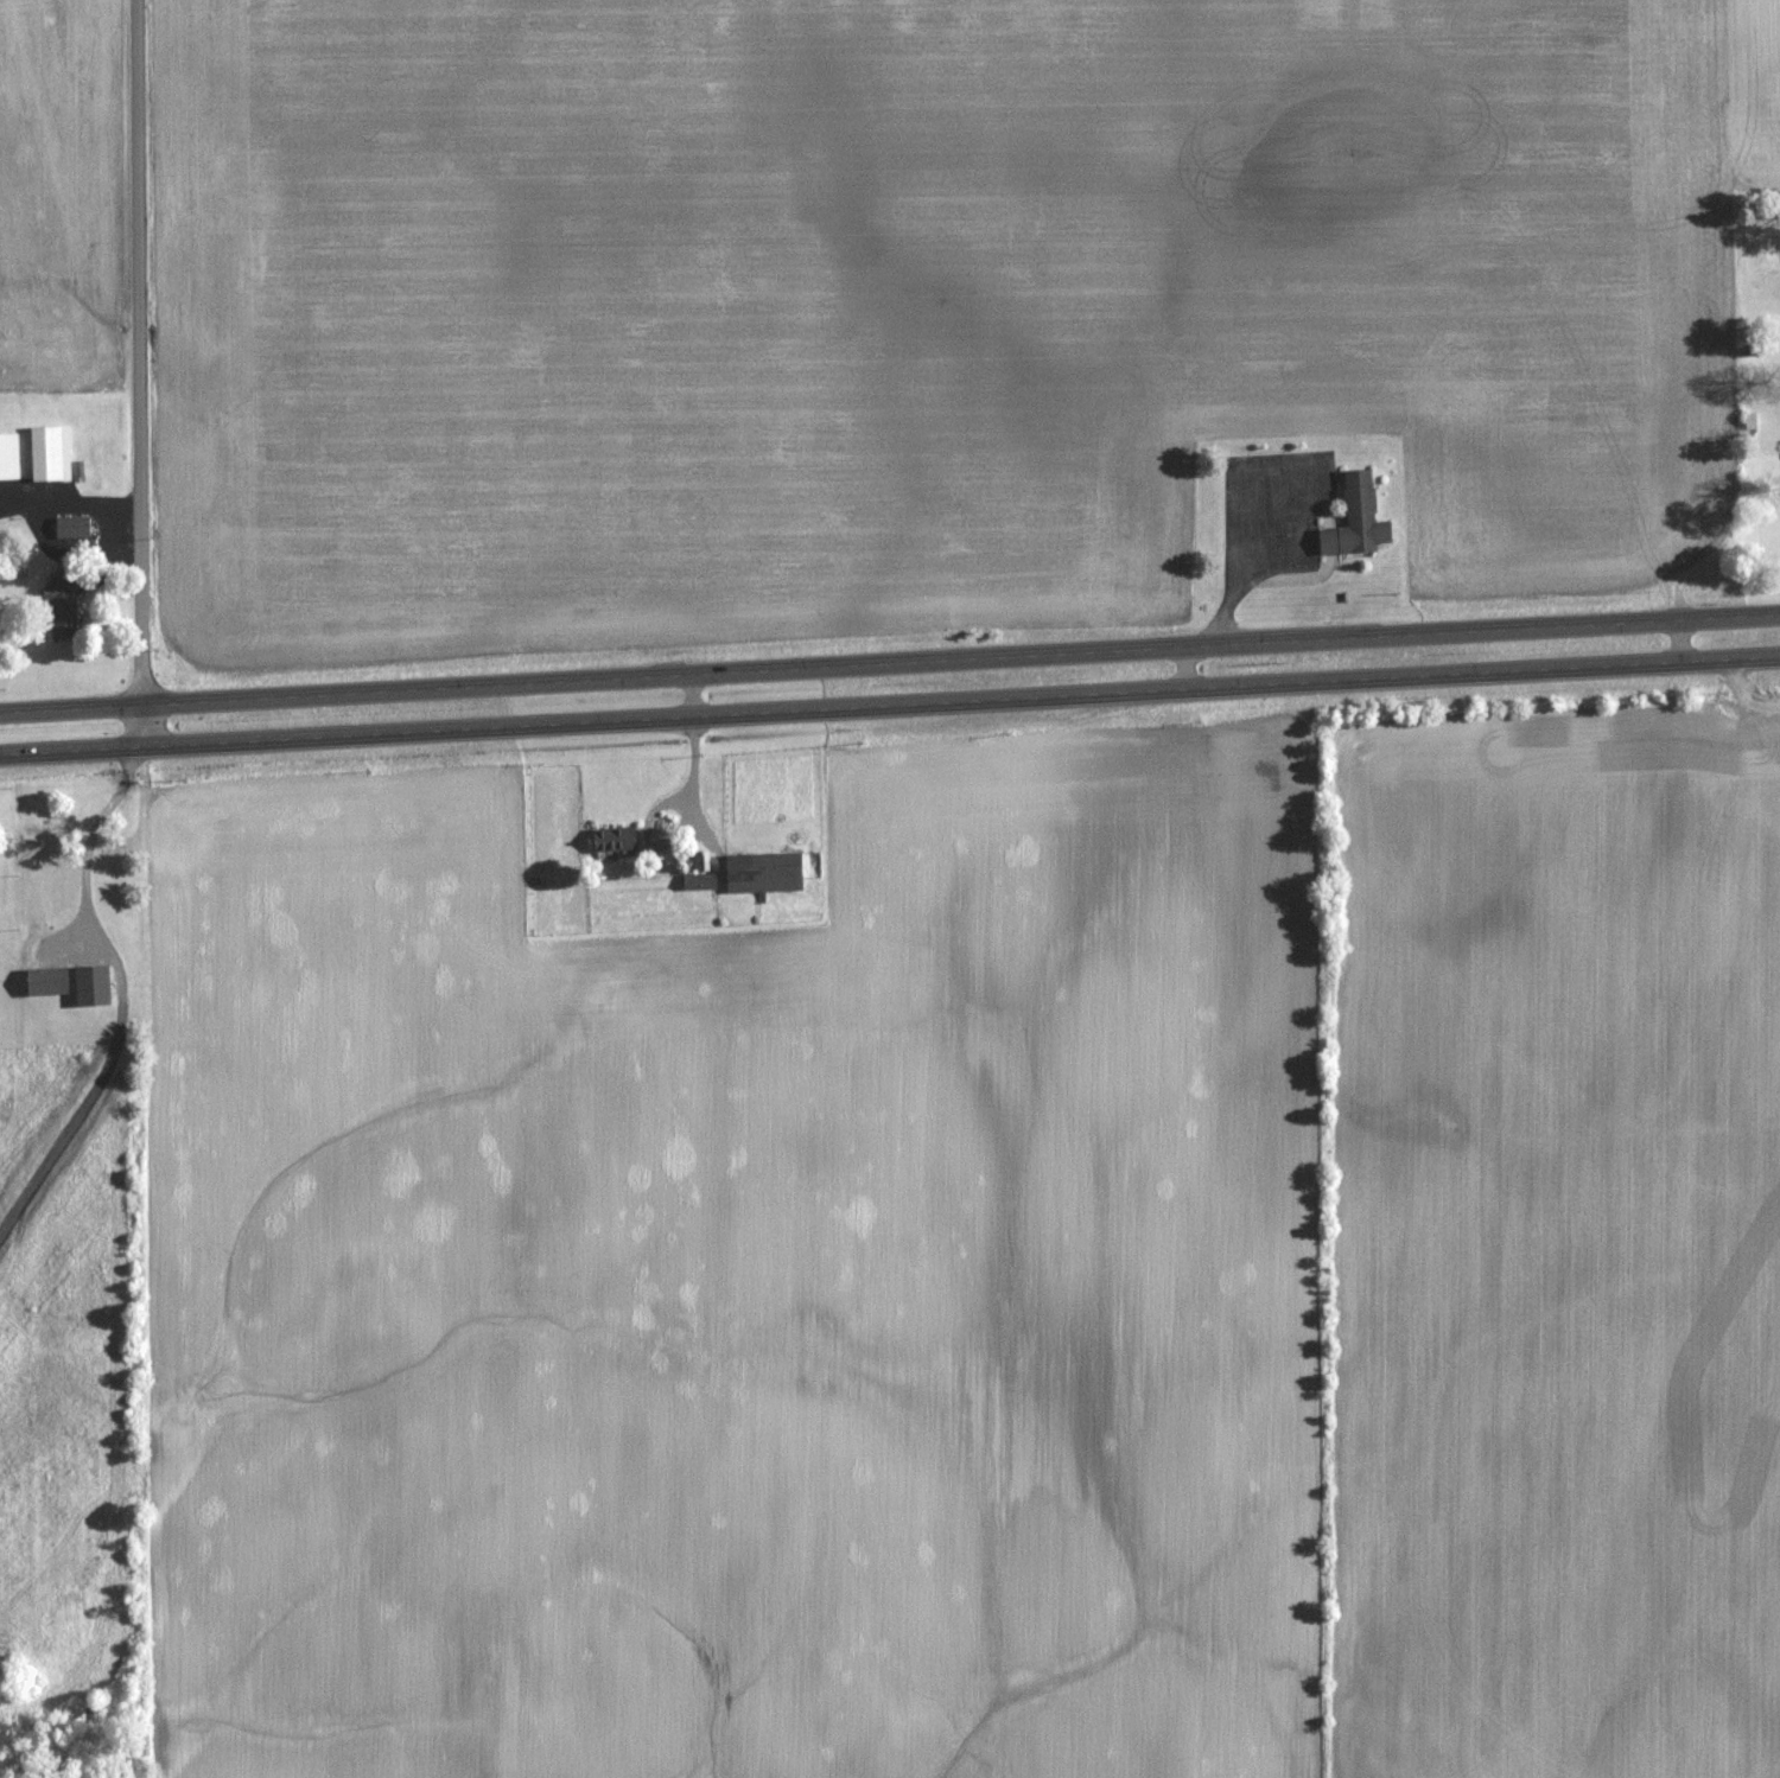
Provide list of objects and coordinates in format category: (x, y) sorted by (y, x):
road: (139, 353)
building: (53, 454)
building: (11, 458)
building: (1361, 520)
building: (76, 528)
building: (68, 608)
road: (1680, 643)
road: (889, 664)
road: (1185, 670)
road: (694, 696)
road: (1743, 700)
road: (889, 707)
road: (144, 727)
building: (619, 840)
building: (768, 871)
building: (703, 881)
building: (51, 981)
building: (96, 984)
road: (122, 998)

